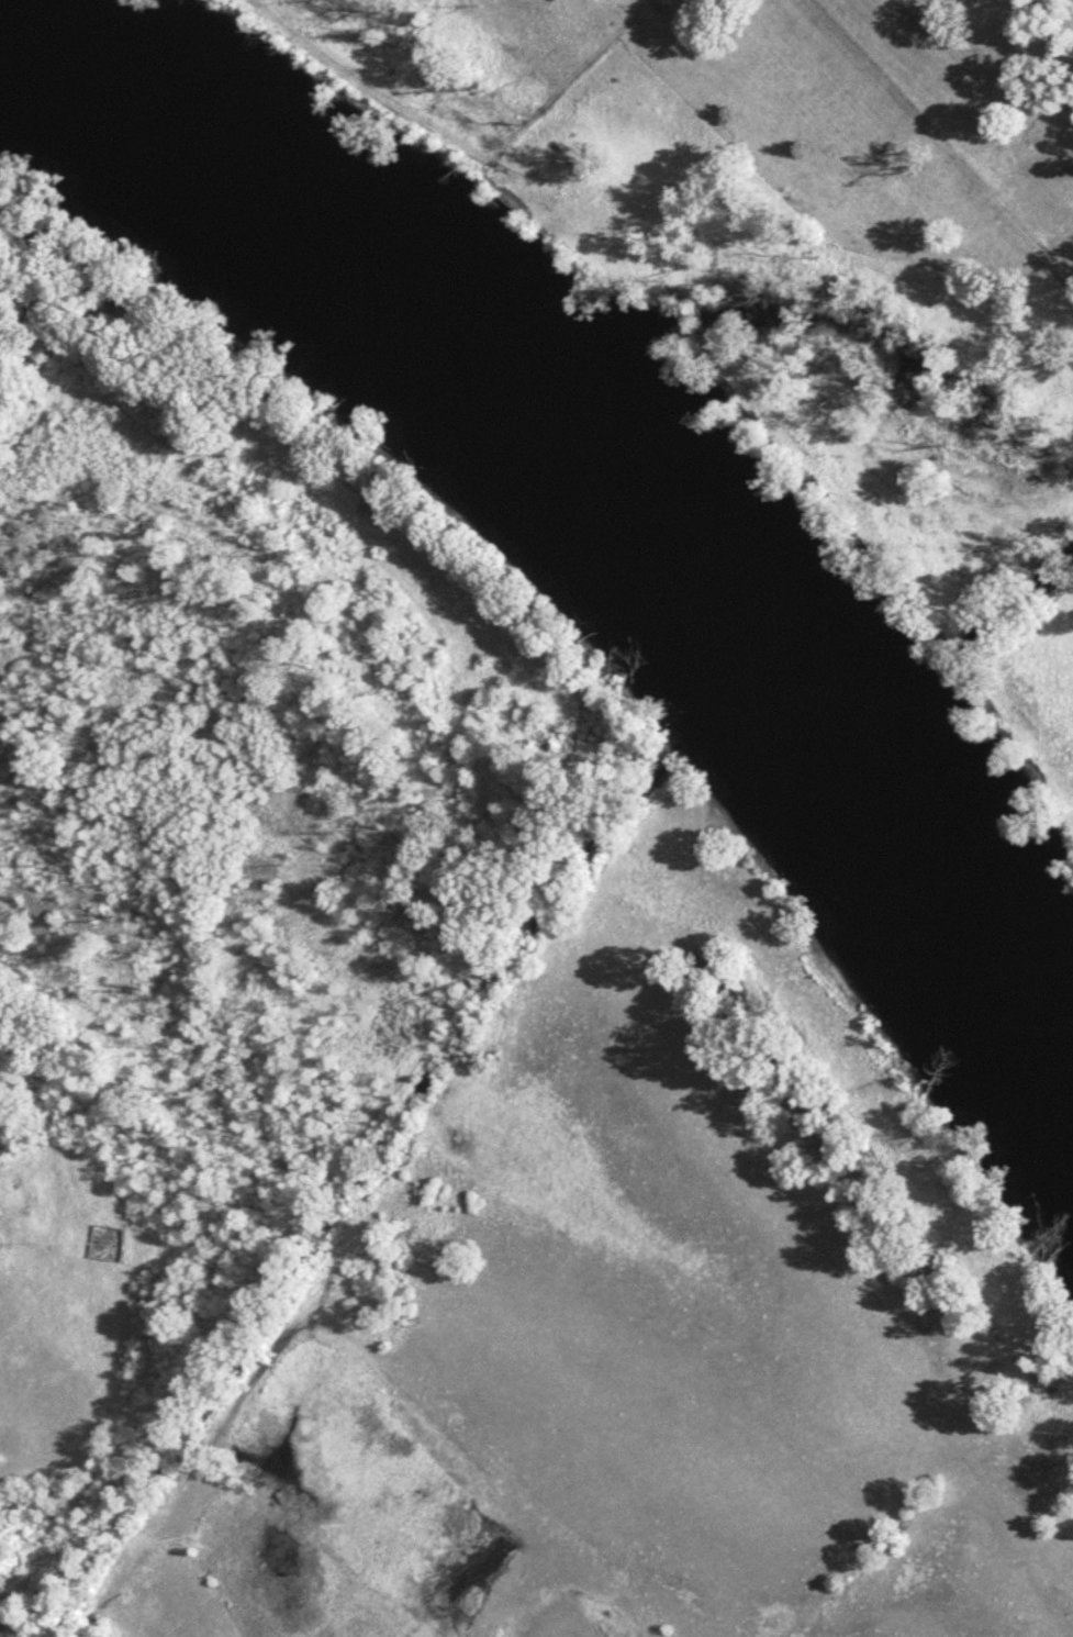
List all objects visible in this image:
river: (602, 482)
building: (103, 1243)
railway: (1, 1635)

